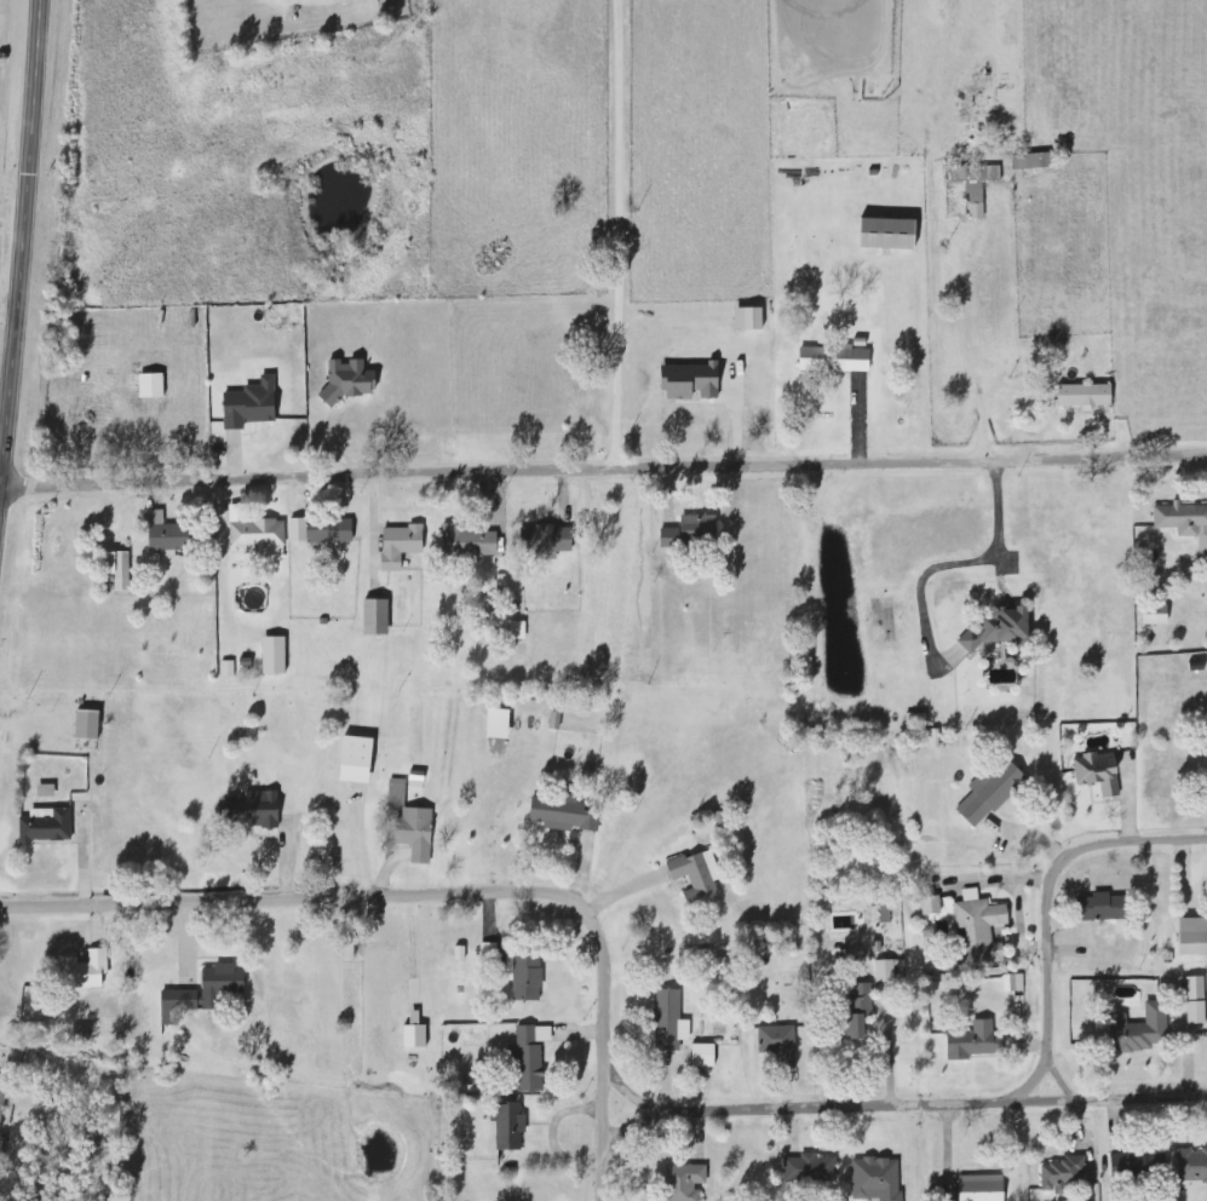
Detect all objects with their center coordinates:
building: (1031, 161)
building: (979, 189)
road: (18, 225)
road: (599, 226)
building: (886, 234)
building: (748, 320)
building: (834, 360)
building: (349, 380)
building: (690, 381)
building: (151, 386)
building: (1085, 396)
building: (249, 404)
road: (603, 453)
building: (1184, 522)
building: (699, 527)
building: (298, 530)
building: (329, 531)
building: (254, 533)
building: (165, 536)
building: (669, 539)
building: (547, 540)
building: (467, 542)
building: (400, 546)
building: (122, 573)
building: (1155, 616)
building: (375, 617)
building: (1000, 628)
building: (518, 631)
building: (274, 656)
building: (229, 670)
building: (498, 724)
building: (87, 725)
building: (355, 760)
building: (1098, 774)
building: (46, 792)
building: (990, 793)
building: (251, 810)
building: (562, 815)
building: (46, 827)
building: (415, 834)
road: (1126, 841)
building: (697, 878)
road: (443, 892)
building: (931, 907)
building: (1102, 909)
building: (981, 929)
building: (1192, 937)
building: (85, 971)
building: (528, 979)
building: (885, 979)
road: (1045, 983)
building: (1015, 984)
building: (205, 994)
building: (1196, 1001)
building: (857, 1010)
building: (669, 1022)
building: (1142, 1032)
building: (972, 1042)
building: (778, 1045)
building: (531, 1057)
building: (703, 1057)
building: (2, 1099)
road: (898, 1103)
building: (510, 1127)
building: (1191, 1167)
building: (810, 1171)
building: (1064, 1176)
building: (684, 1179)
building: (876, 1180)
building: (981, 1188)

